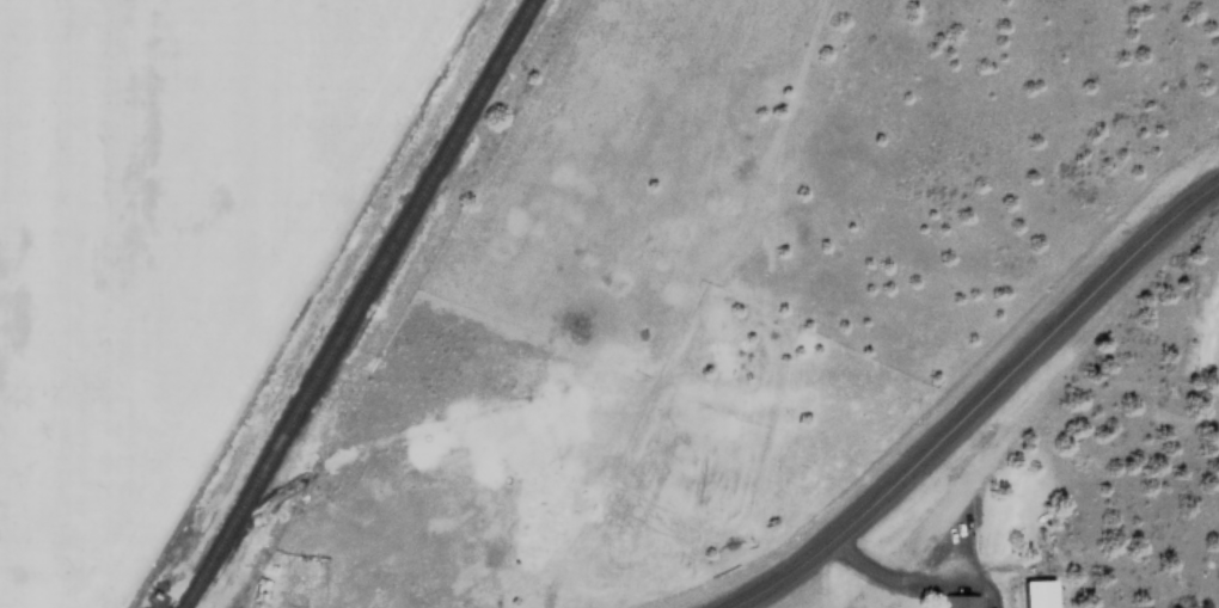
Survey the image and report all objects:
railway: (362, 303)
road: (696, 306)
road: (980, 401)
building: (1186, 581)
building: (1033, 592)
building: (957, 600)

